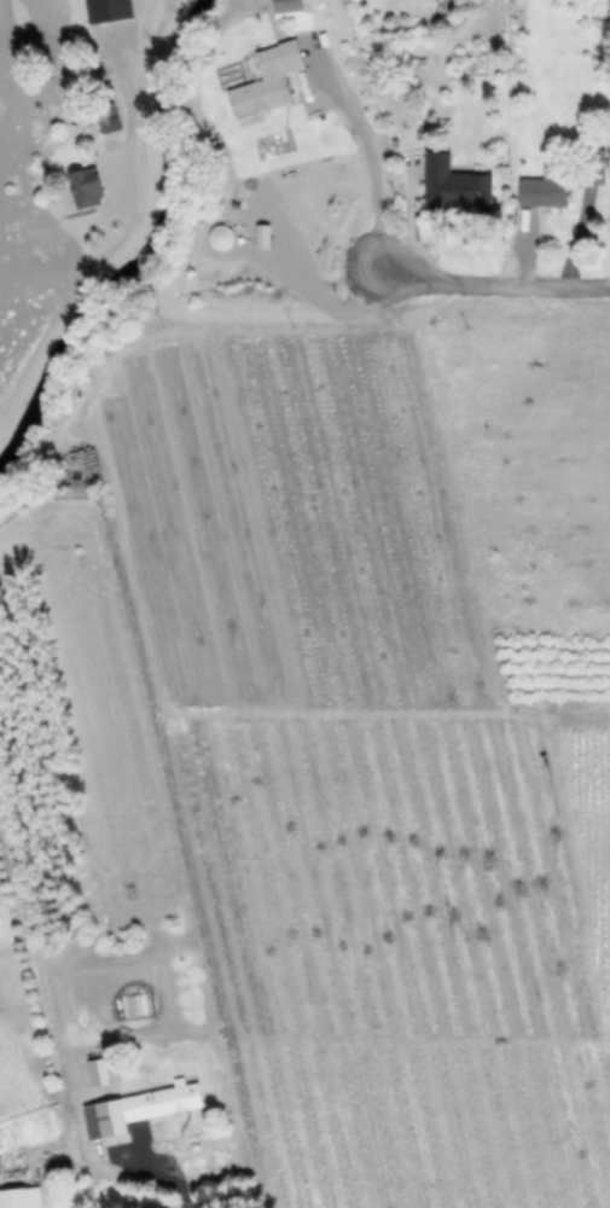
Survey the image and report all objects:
building: (285, 6)
building: (79, 13)
building: (266, 77)
building: (592, 165)
road: (372, 175)
building: (452, 185)
building: (85, 186)
building: (544, 186)
road: (147, 237)
road: (353, 319)
building: (97, 1071)
building: (134, 1109)
road: (162, 1175)
building: (19, 1197)

